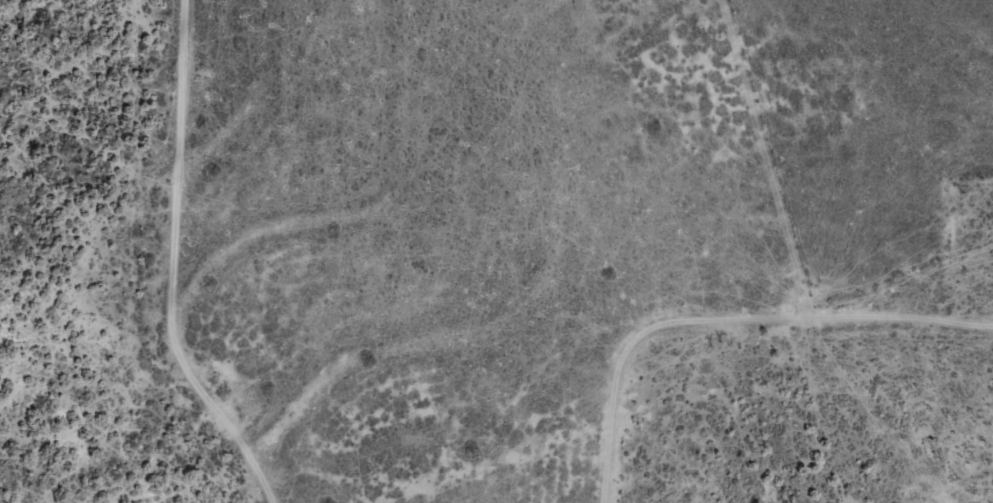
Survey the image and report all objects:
road: (134, 266)
road: (714, 325)

